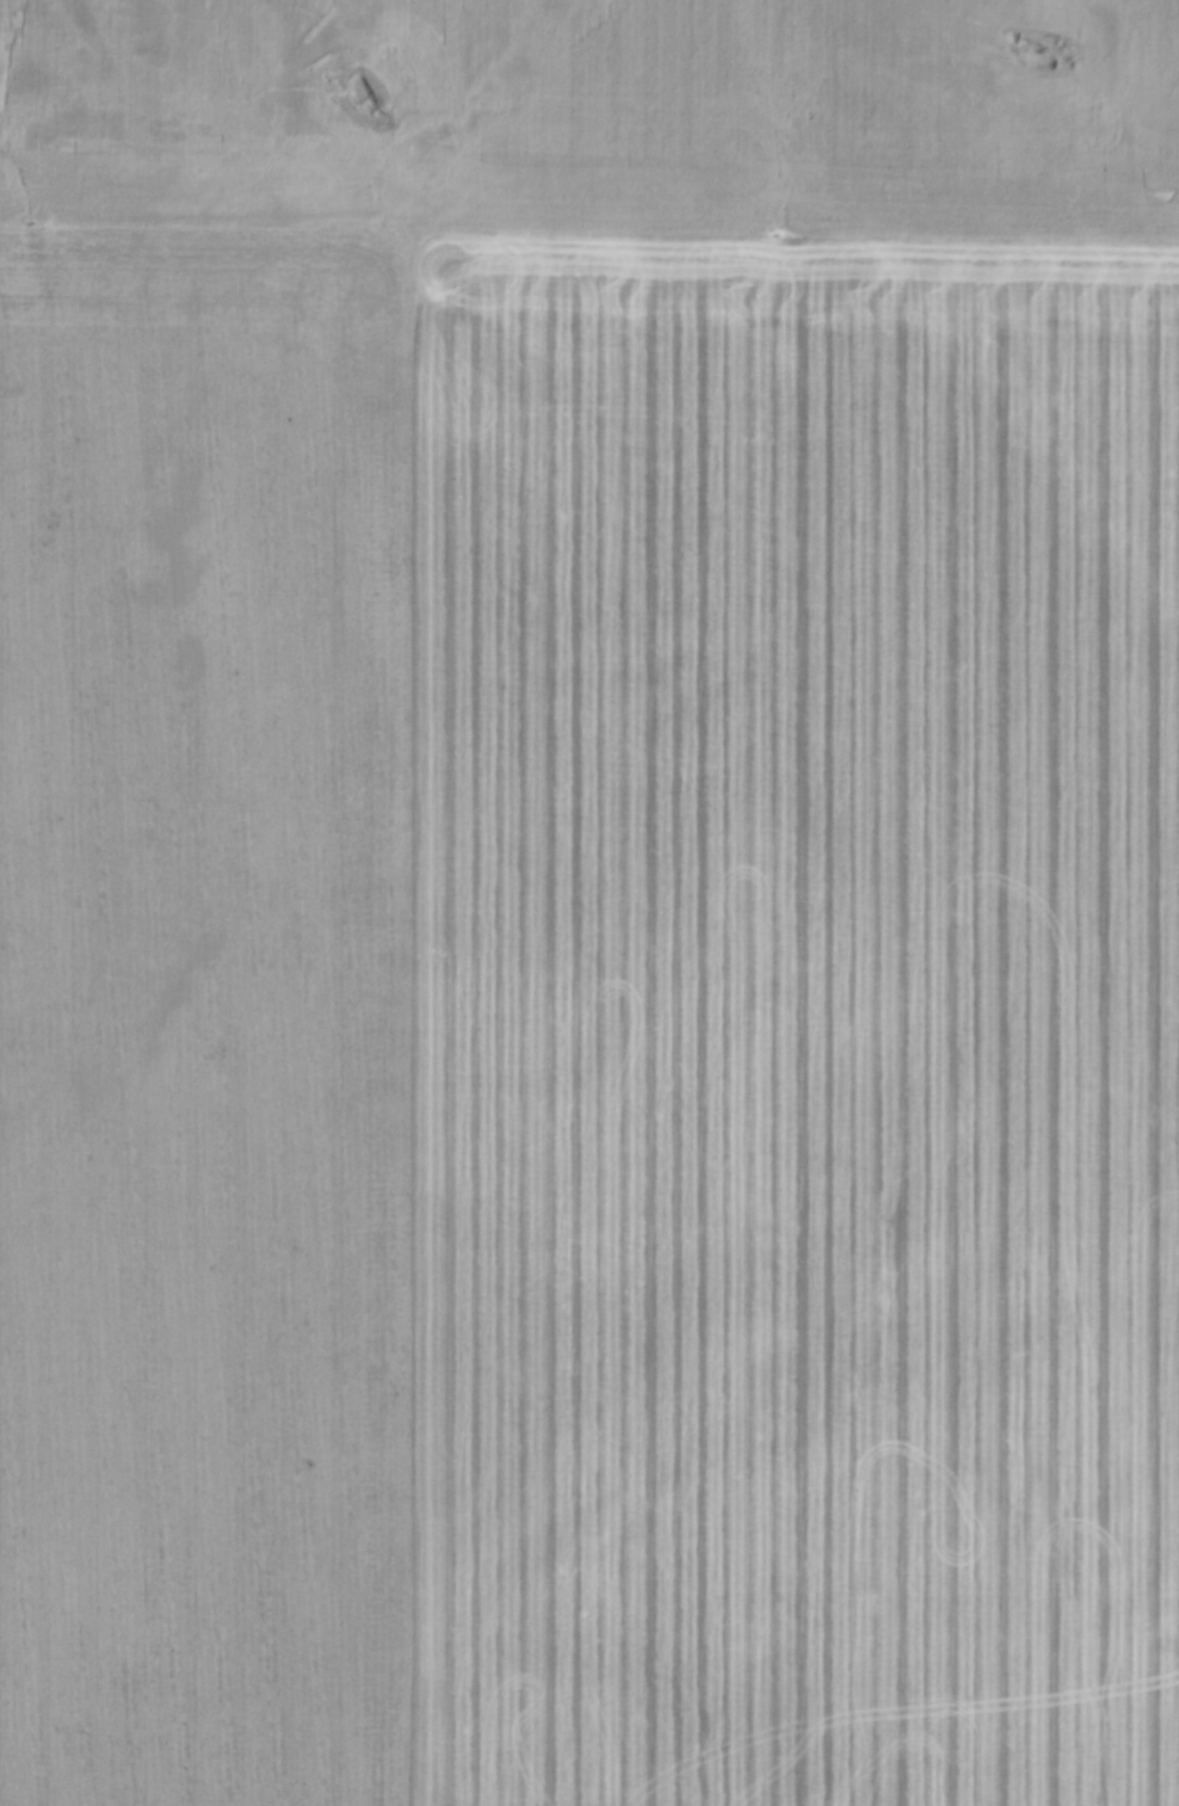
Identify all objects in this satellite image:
crop: (589, 902)

